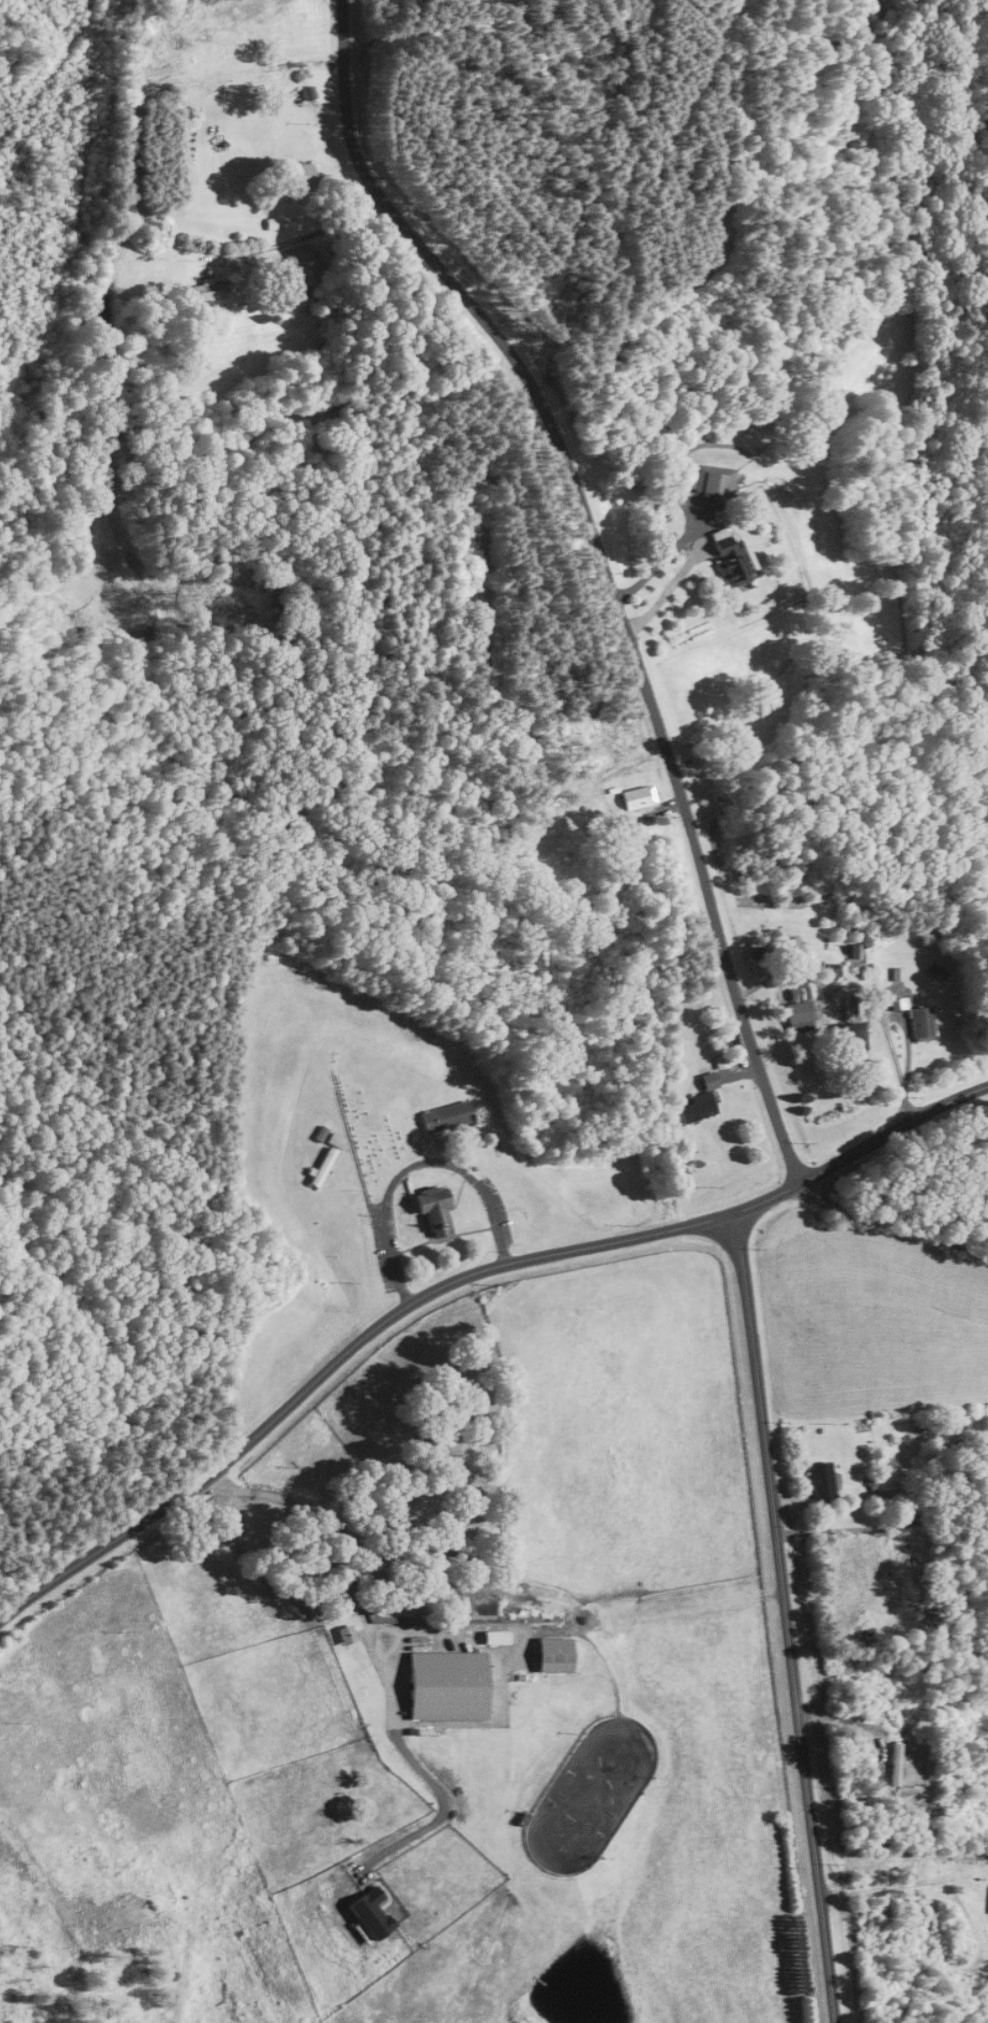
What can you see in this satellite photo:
building: (304, 175)
building: (303, 267)
building: (211, 291)
building: (709, 480)
road: (659, 560)
building: (729, 560)
road: (603, 569)
road: (664, 592)
building: (635, 797)
road: (867, 988)
building: (797, 1011)
building: (921, 1023)
building: (851, 1031)
building: (698, 1102)
building: (447, 1115)
building: (336, 1139)
road: (351, 1145)
road: (414, 1165)
building: (324, 1166)
road: (406, 1174)
road: (410, 1192)
building: (434, 1207)
road: (886, 1224)
road: (443, 1237)
road: (456, 1280)
building: (824, 1480)
road: (872, 1528)
road: (333, 1535)
road: (785, 1616)
building: (347, 1635)
building: (556, 1655)
building: (452, 1686)
building: (897, 1764)

